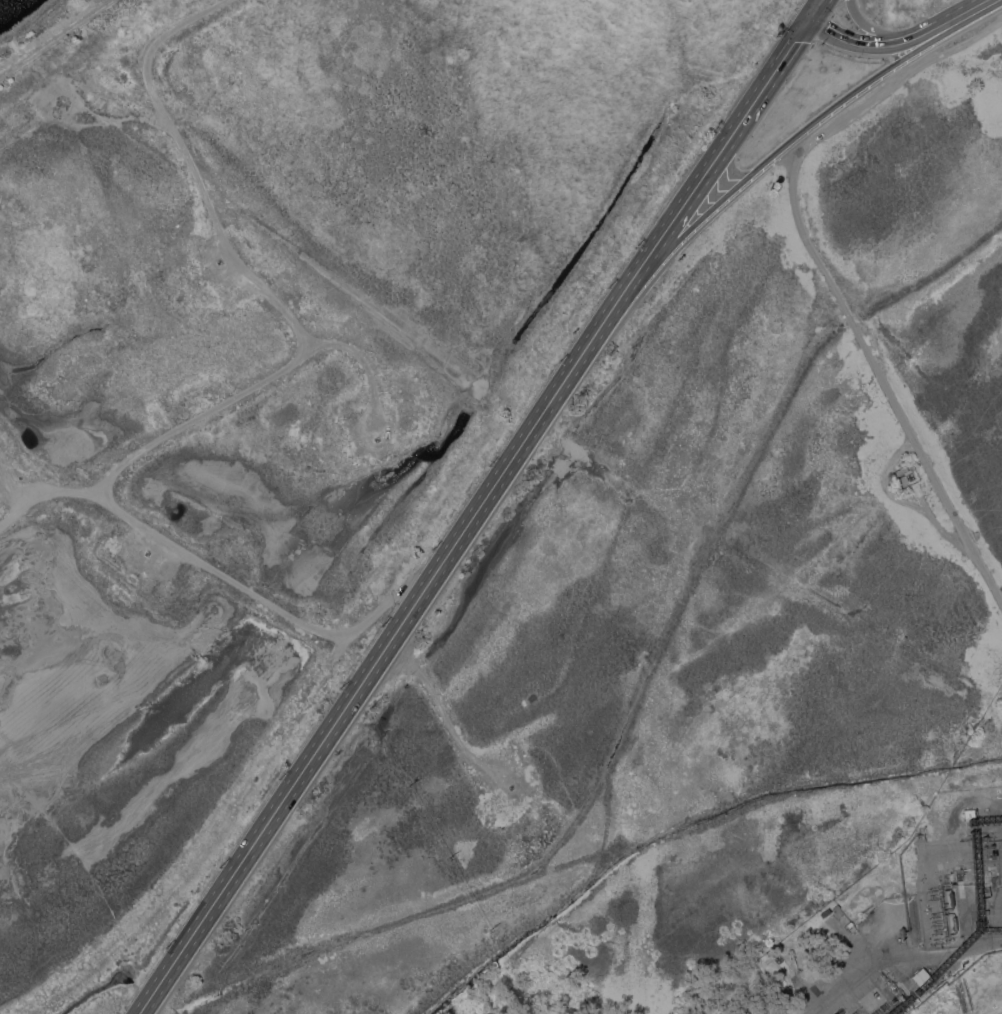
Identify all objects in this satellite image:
road: (981, 2)
road: (105, 4)
road: (815, 10)
road: (953, 14)
traffic signals: (808, 21)
road: (883, 32)
road: (49, 42)
road: (868, 46)
road: (894, 83)
road: (75, 98)
building: (100, 101)
road: (92, 112)
road: (66, 125)
road: (801, 131)
road: (722, 146)
road: (258, 281)
road: (313, 340)
road: (361, 359)
road: (880, 374)
road: (9, 481)
road: (884, 483)
road: (28, 488)
road: (107, 493)
road: (935, 521)
road: (175, 545)
road: (436, 570)
road: (376, 613)
road: (339, 638)
road: (441, 712)
road: (968, 804)
building: (969, 812)
building: (923, 835)
building: (952, 898)
building: (836, 907)
building: (954, 922)
building: (902, 931)
road: (187, 942)
road: (894, 961)
building: (922, 976)
road: (997, 1011)

